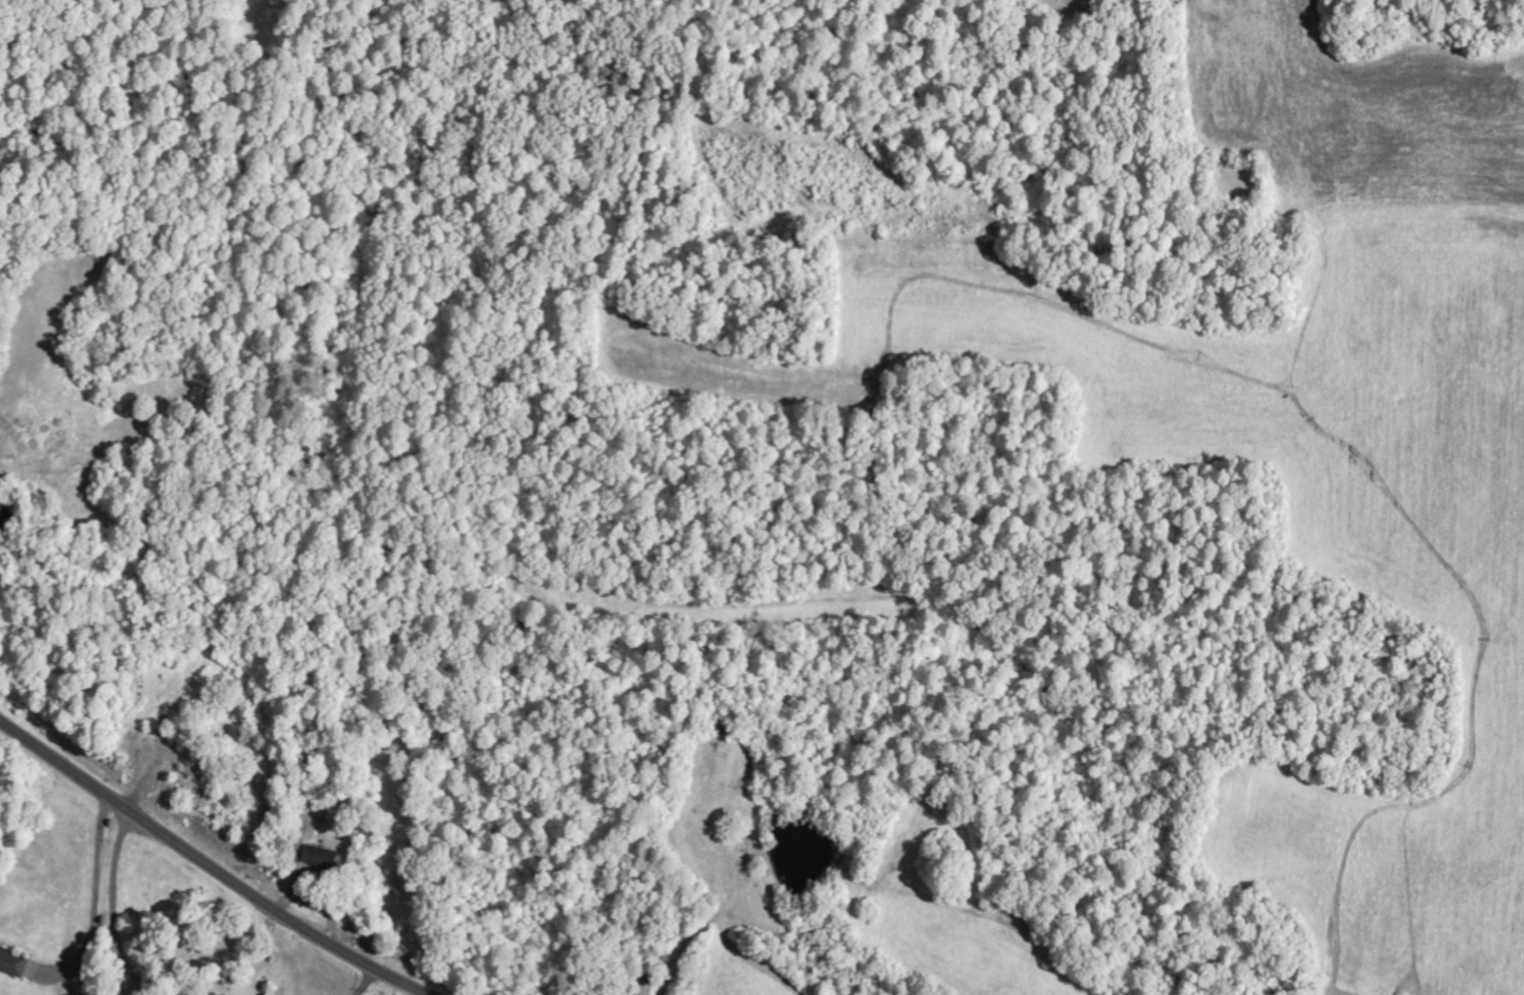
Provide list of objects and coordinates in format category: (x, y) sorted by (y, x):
building: (320, 857)
road: (211, 865)
building: (11, 962)
road: (325, 969)
building: (209, 994)

